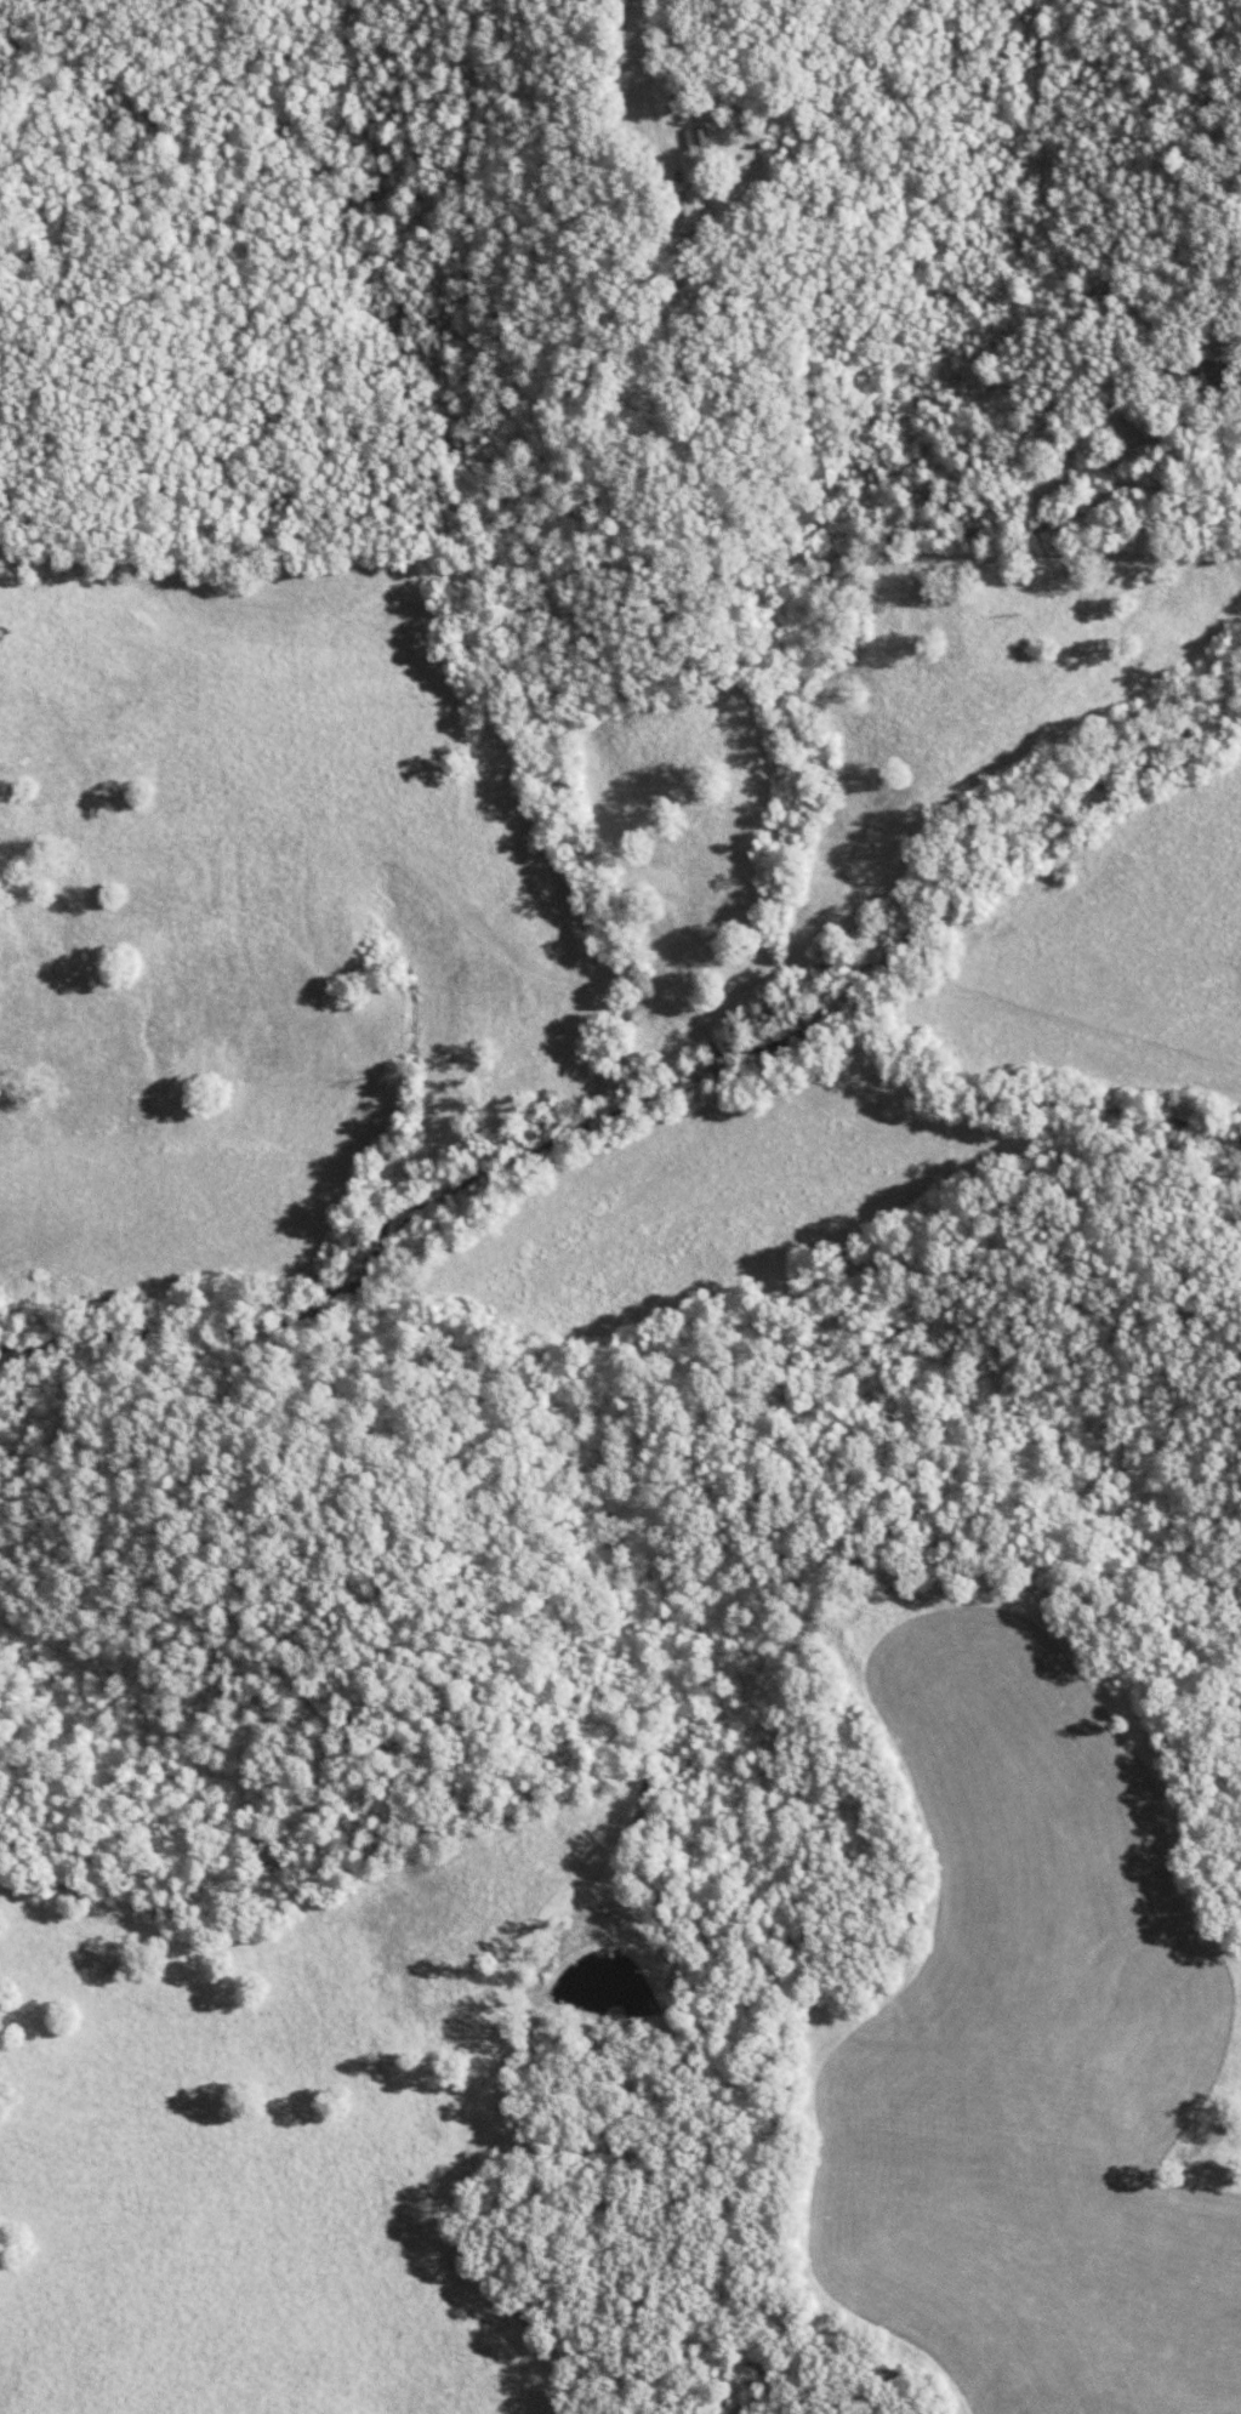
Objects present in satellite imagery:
road: (653, 87)

